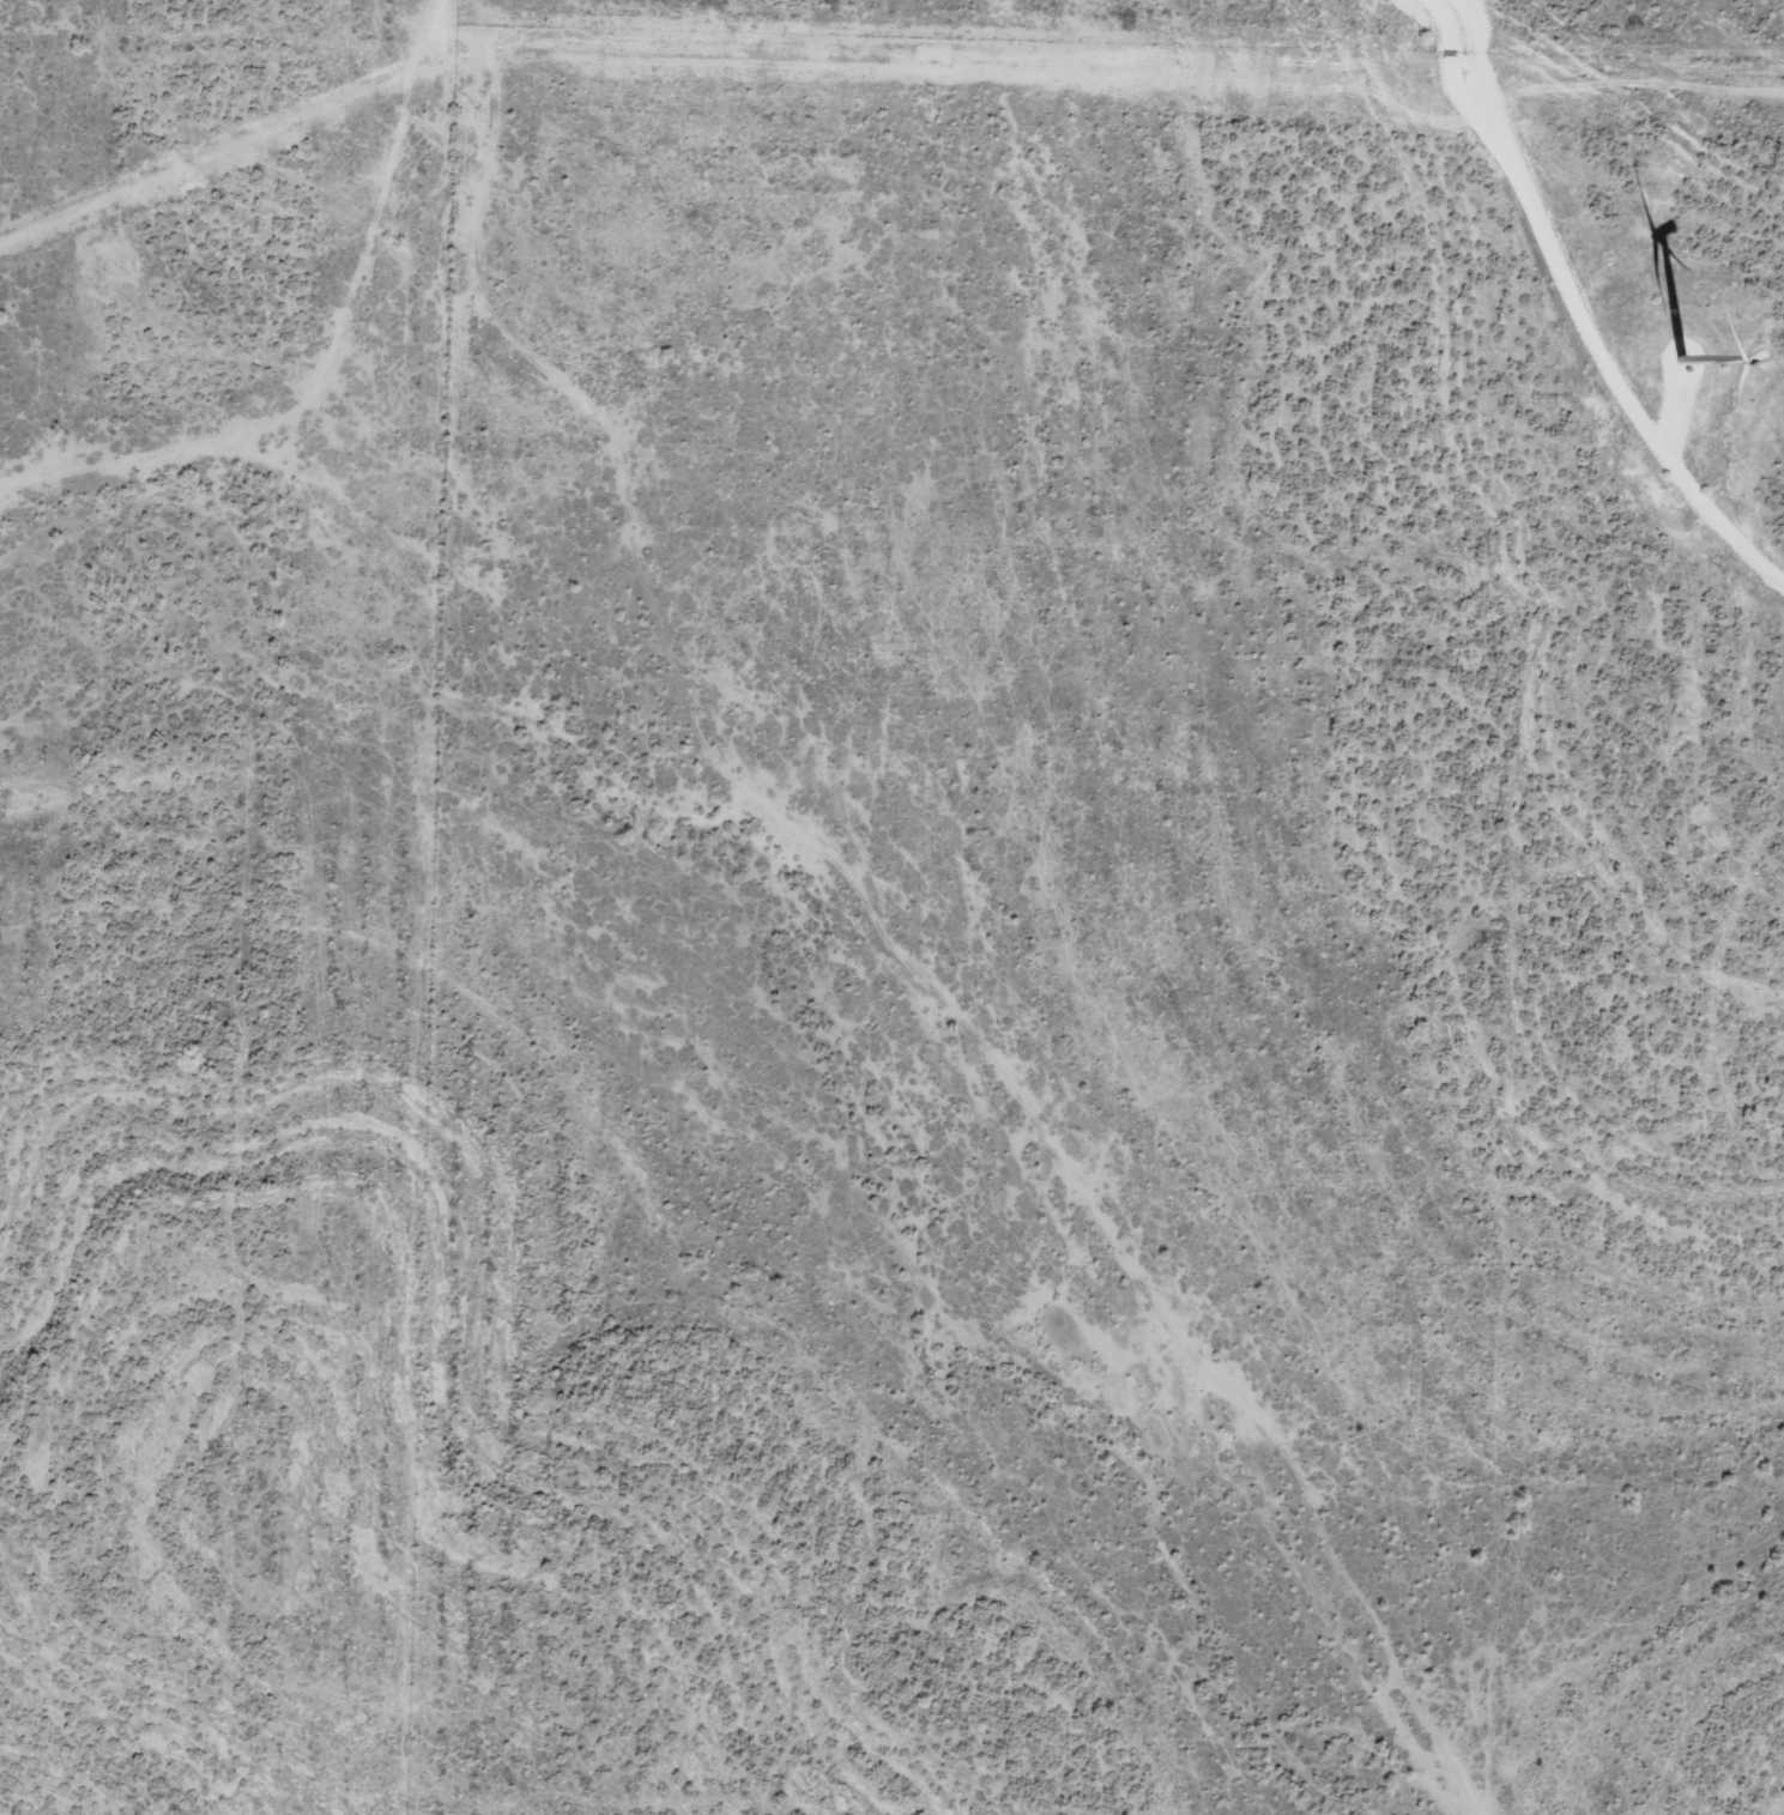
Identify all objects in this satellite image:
road: (1578, 309)
wind turbine: (1680, 357)
road: (699, 651)

